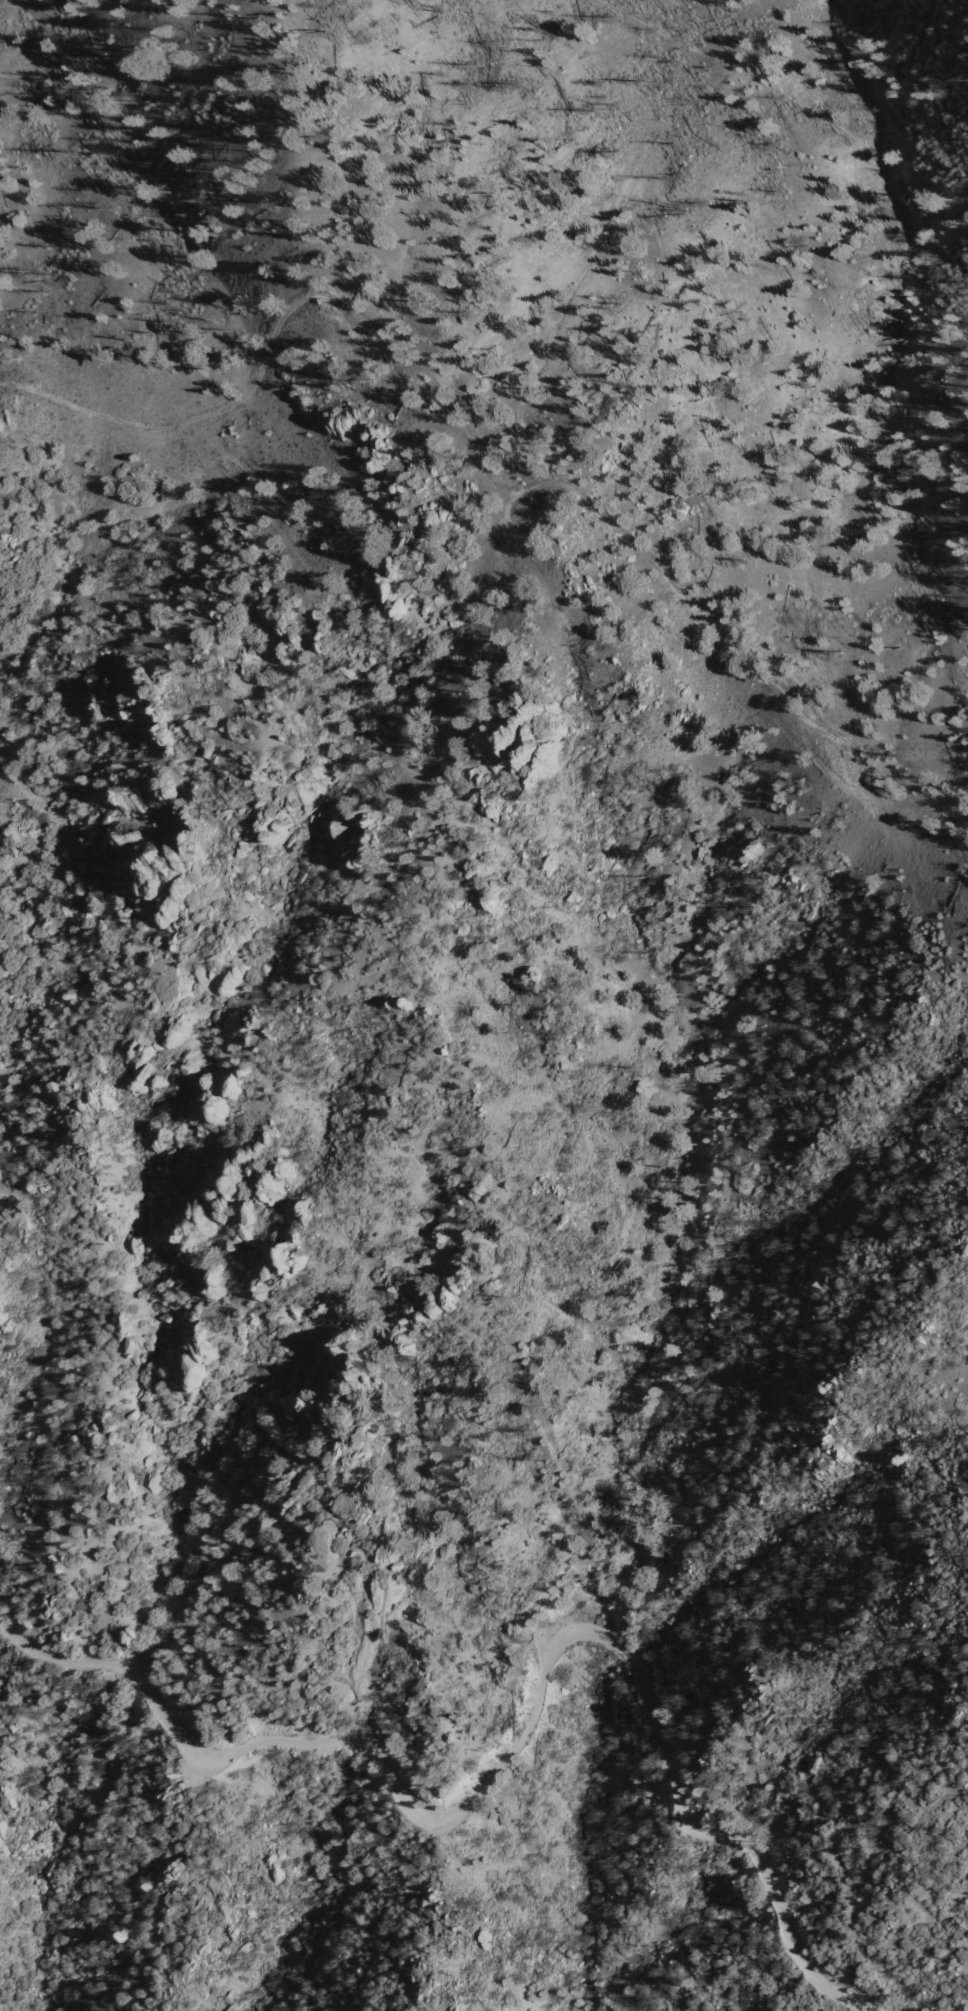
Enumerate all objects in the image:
road: (836, 123)
road: (482, 472)
road: (521, 1743)

